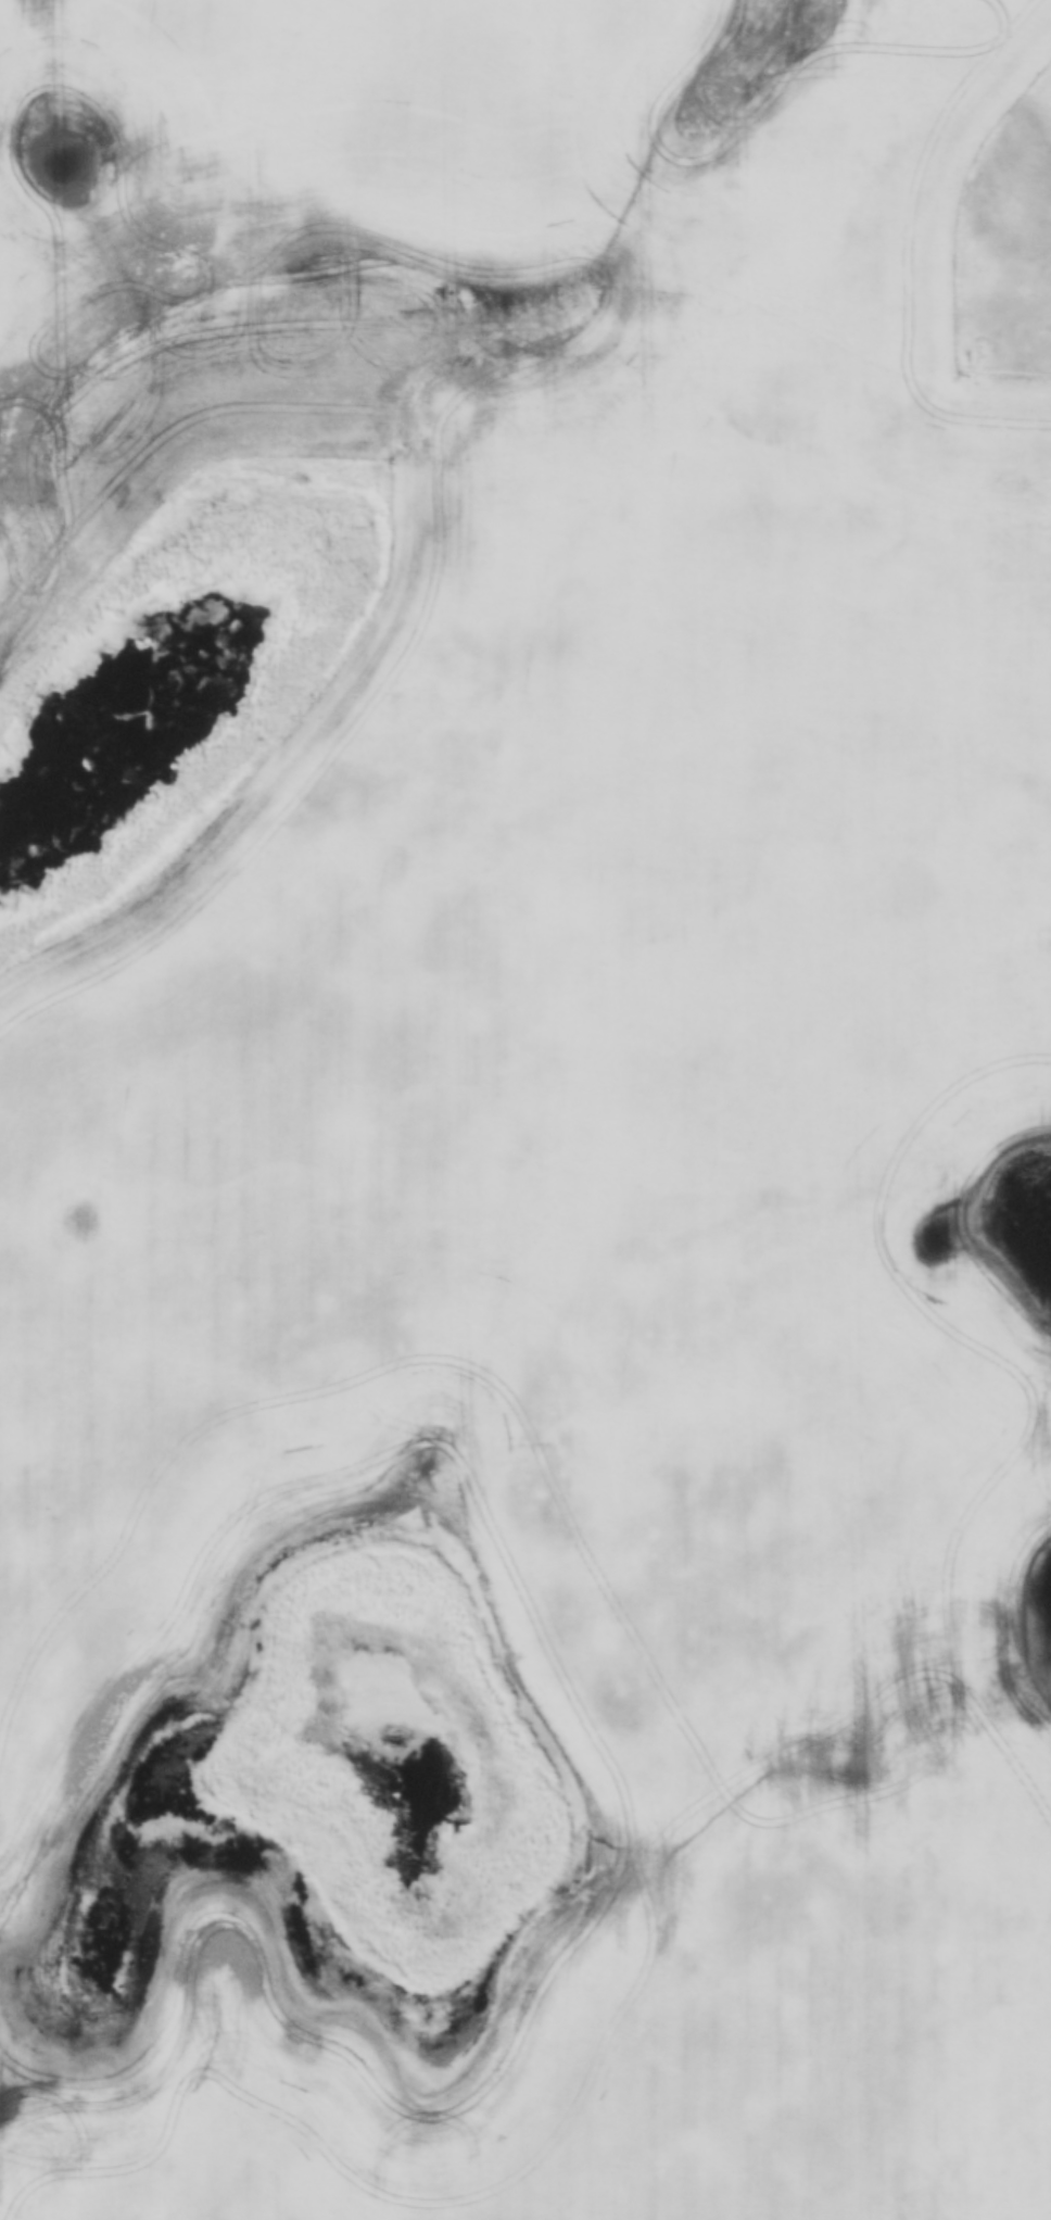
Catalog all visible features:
road: (960, 240)

